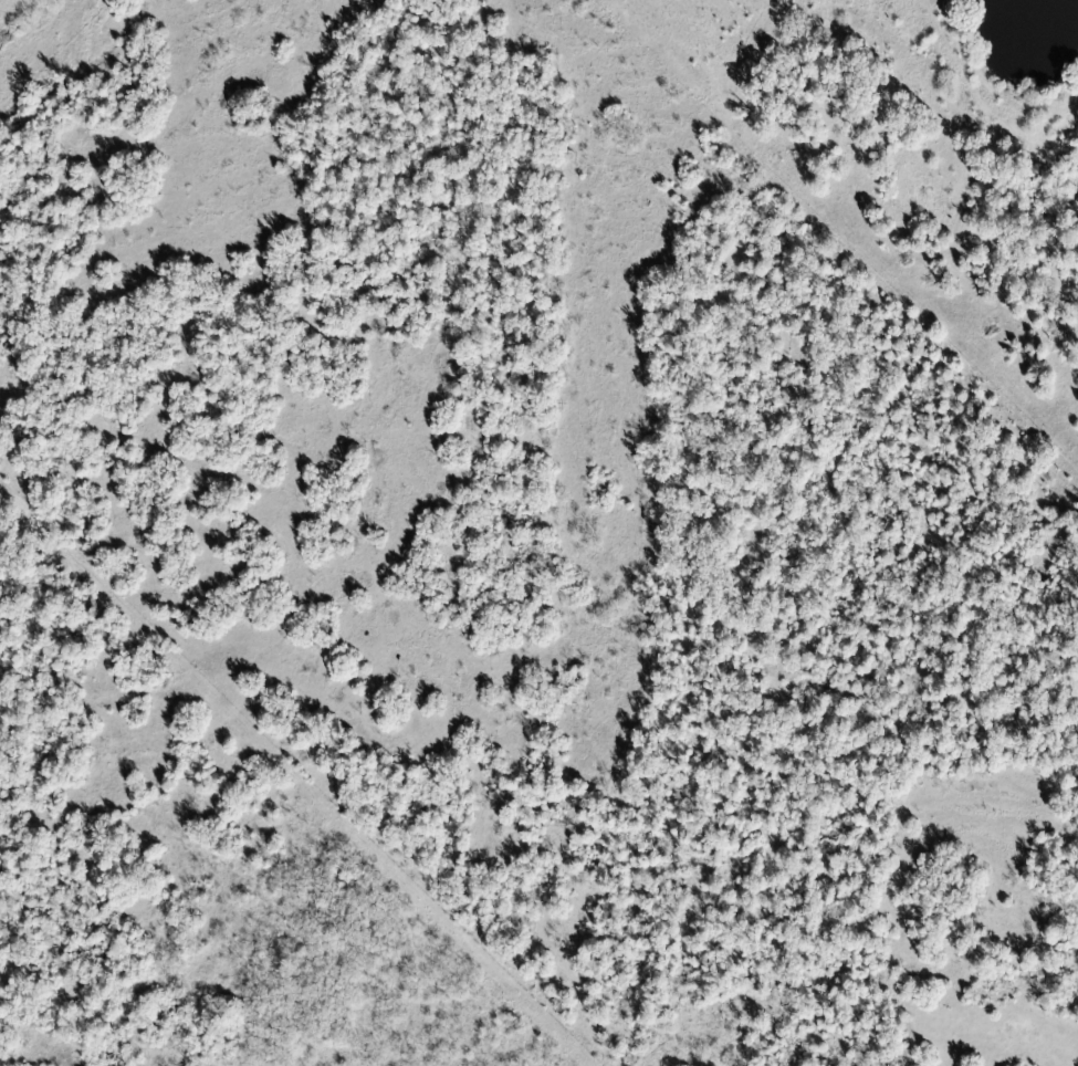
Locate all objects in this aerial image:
road: (939, 257)

